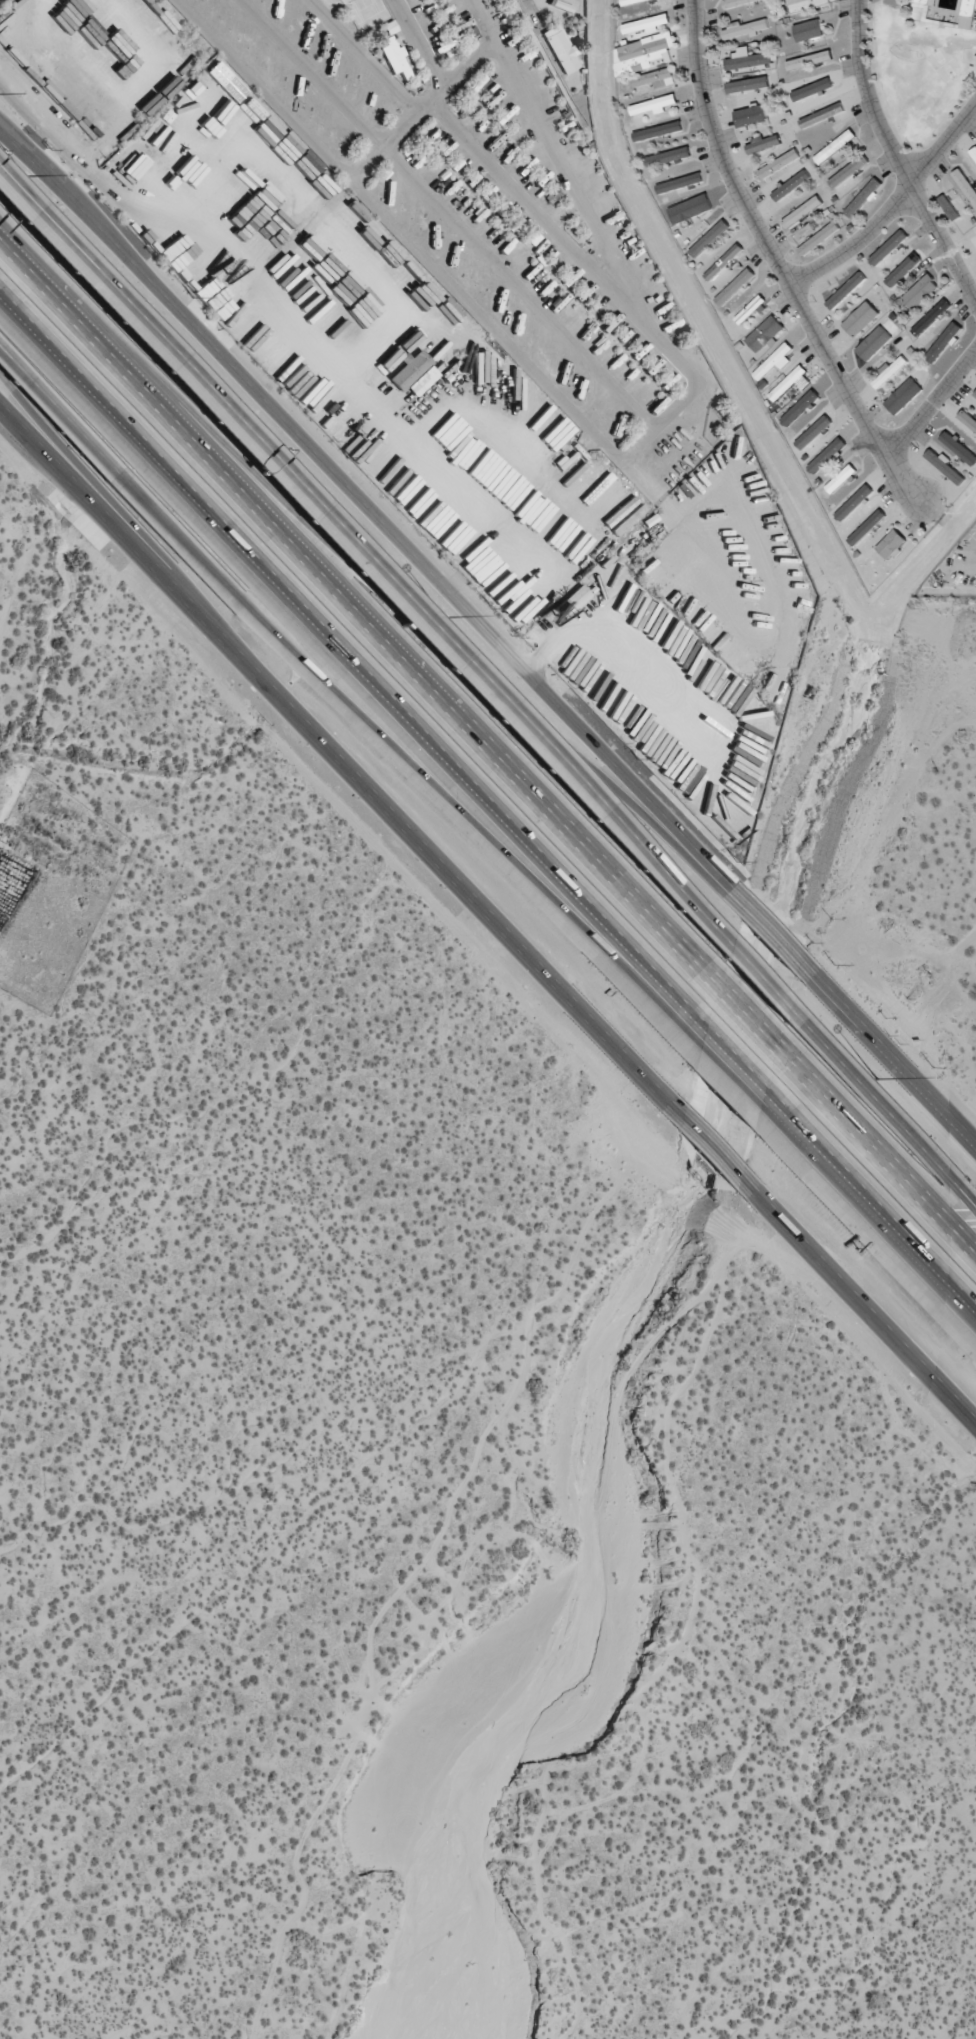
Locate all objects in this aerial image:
building: (926, 2)
building: (736, 3)
building: (807, 3)
road: (531, 11)
building: (968, 13)
building: (646, 24)
building: (744, 28)
building: (807, 30)
road: (418, 41)
building: (560, 47)
building: (644, 53)
road: (358, 56)
building: (395, 57)
building: (746, 59)
building: (809, 60)
building: (656, 78)
building: (747, 84)
building: (812, 89)
building: (654, 105)
building: (821, 115)
building: (750, 116)
building: (658, 131)
building: (762, 143)
building: (835, 146)
building: (974, 152)
road: (895, 156)
building: (778, 164)
road: (41, 169)
building: (848, 171)
road: (348, 175)
building: (680, 182)
building: (791, 185)
building: (965, 185)
building: (863, 197)
road: (891, 205)
building: (690, 208)
building: (802, 211)
road: (448, 213)
road: (539, 219)
building: (709, 238)
building: (818, 238)
building: (973, 241)
road: (67, 243)
building: (888, 247)
road: (63, 255)
building: (724, 261)
road: (775, 266)
building: (903, 270)
building: (735, 286)
building: (846, 290)
building: (919, 292)
building: (930, 317)
building: (860, 318)
building: (765, 333)
building: (943, 342)
building: (873, 343)
building: (773, 361)
building: (889, 371)
building: (414, 374)
building: (791, 383)
building: (975, 394)
building: (903, 396)
road: (929, 402)
building: (801, 408)
road: (58, 417)
building: (968, 419)
road: (660, 421)
building: (814, 432)
building: (826, 455)
building: (945, 466)
building: (841, 478)
building: (854, 503)
road: (128, 518)
building: (866, 527)
building: (891, 544)
road: (370, 556)
road: (413, 558)
building: (576, 598)
road: (358, 607)
road: (352, 667)
road: (343, 760)
road: (408, 768)
road: (665, 877)
road: (773, 932)
road: (759, 978)
road: (746, 1013)
road: (889, 1053)
road: (734, 1066)
road: (729, 1085)
road: (882, 1110)
road: (876, 1147)
road: (711, 1148)
road: (856, 1194)
road: (852, 1201)
road: (857, 1300)
road: (962, 1304)

